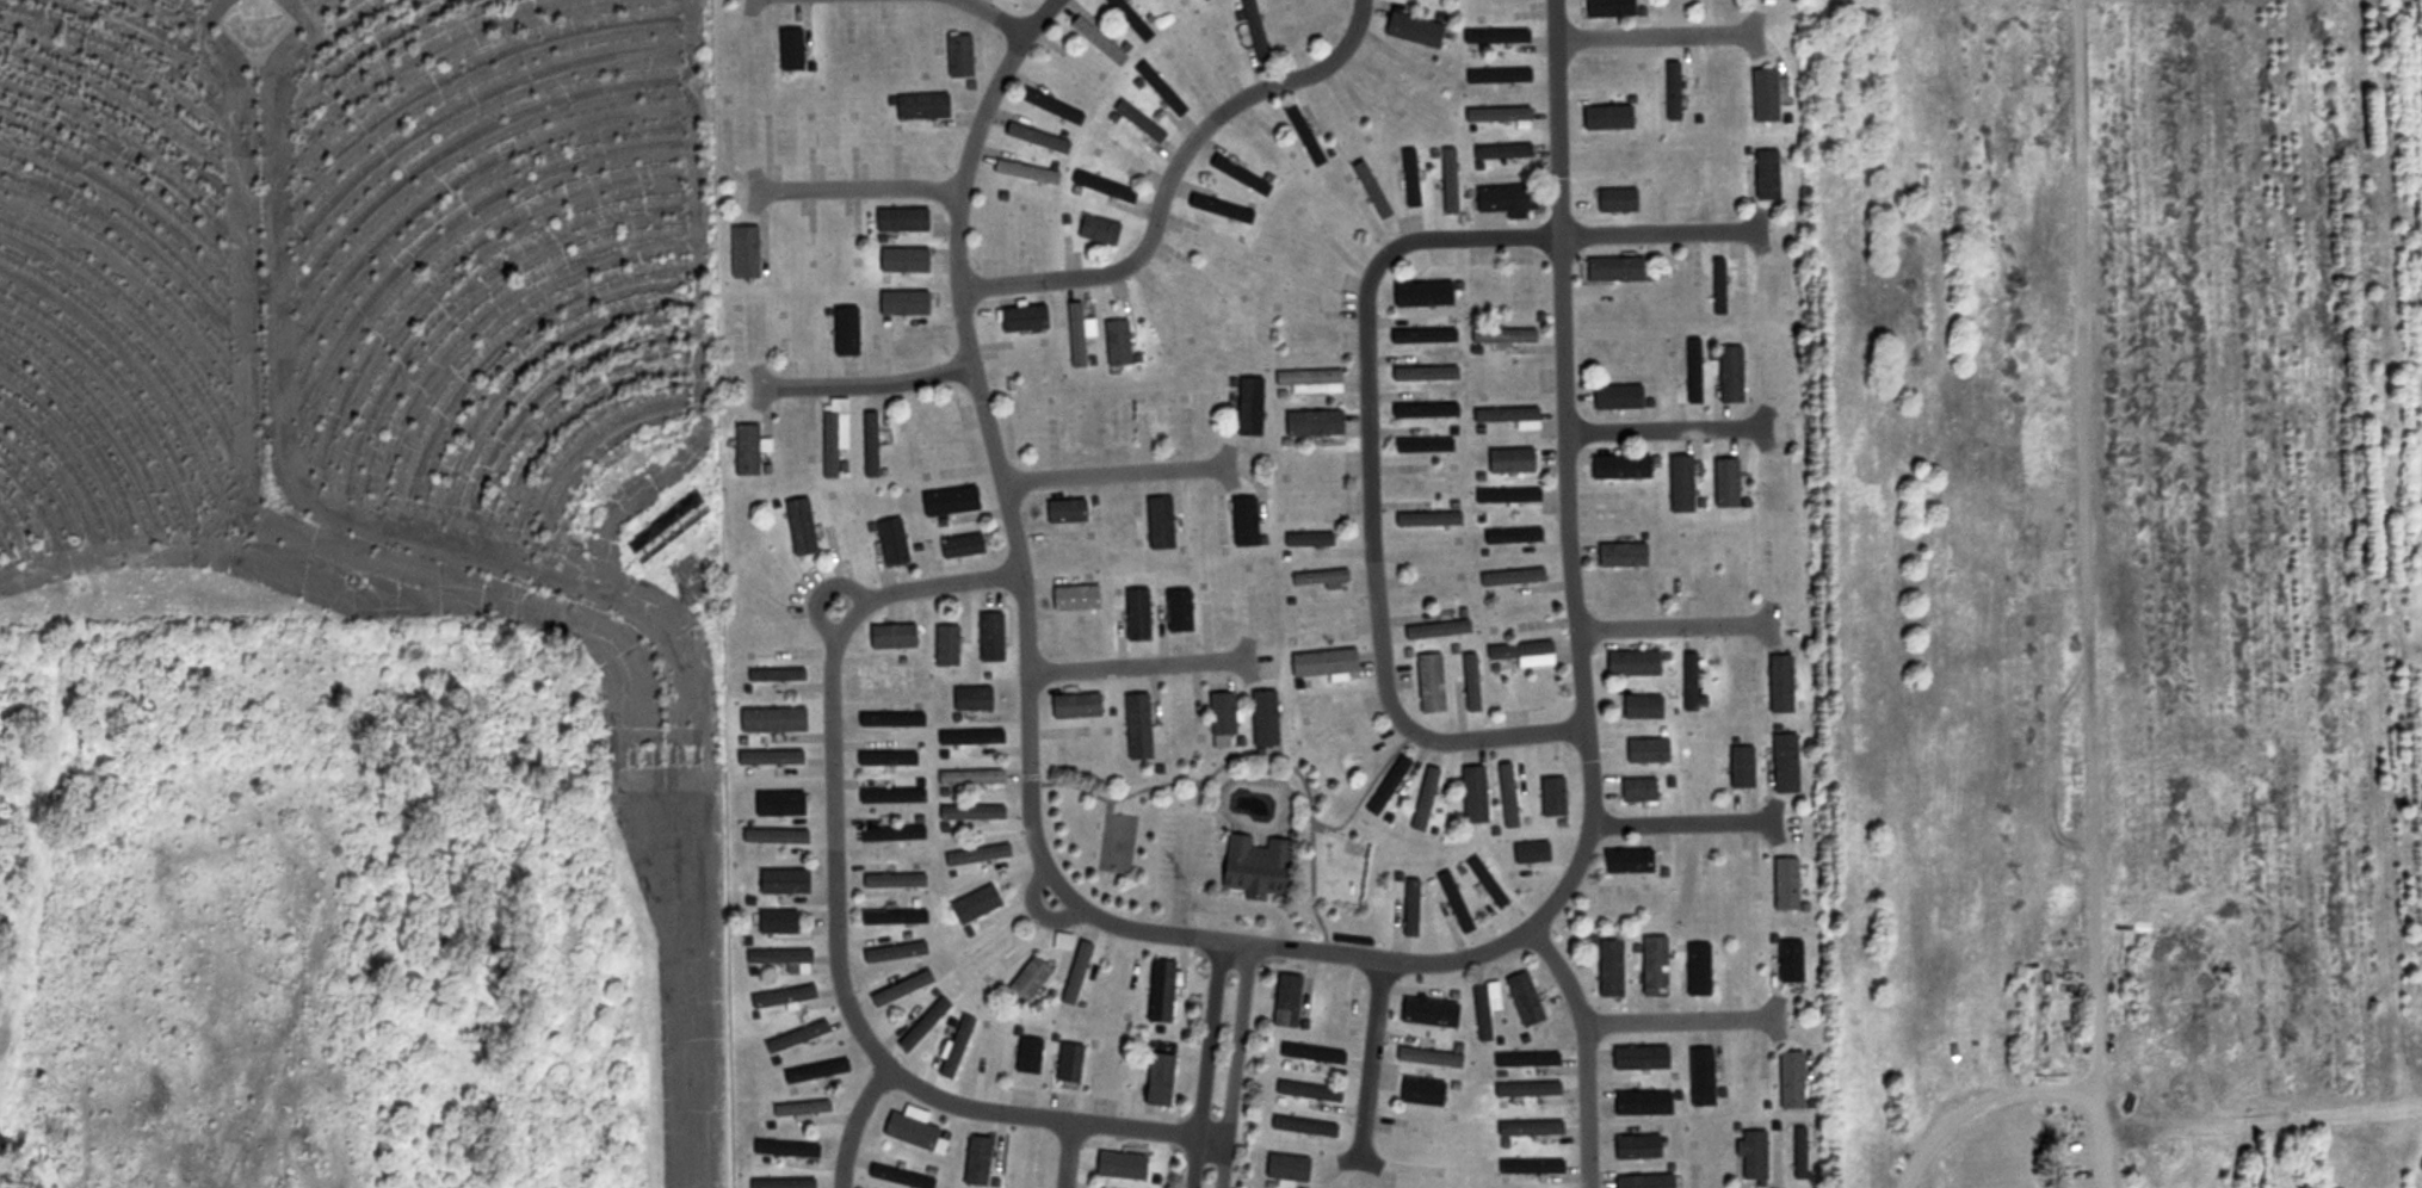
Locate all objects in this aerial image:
building: (1607, 8)
road: (986, 12)
building: (1127, 19)
building: (251, 25)
building: (1253, 30)
building: (1411, 30)
road: (1654, 41)
building: (1095, 42)
building: (787, 49)
building: (1159, 89)
building: (1762, 95)
building: (1606, 117)
building: (1137, 120)
building: (1302, 135)
building: (1237, 175)
building: (1765, 175)
road: (1181, 190)
road: (851, 193)
building: (1502, 199)
building: (991, 229)
building: (1096, 230)
road: (1657, 236)
building: (1613, 270)
building: (1520, 290)
building: (1420, 295)
building: (1114, 342)
building: (1311, 344)
building: (1729, 375)
building: (1309, 382)
road: (864, 383)
building: (1615, 397)
building: (1247, 407)
building: (1507, 417)
building: (1311, 425)
road: (1664, 437)
building: (830, 441)
building: (869, 445)
building: (1421, 445)
building: (744, 450)
building: (1509, 462)
building: (1618, 468)
road: (1117, 475)
building: (1426, 483)
building: (1724, 484)
building: (1679, 485)
building: (1506, 496)
road: (1377, 499)
building: (947, 501)
building: (1421, 506)
building: (1063, 511)
building: (798, 530)
building: (1510, 537)
road: (2077, 542)
building: (1411, 546)
building: (698, 588)
road: (503, 595)
building: (1176, 613)
building: (1434, 630)
road: (1675, 630)
building: (764, 635)
building: (1522, 654)
building: (1322, 663)
building: (1630, 663)
road: (1136, 667)
building: (773, 674)
building: (882, 676)
building: (1428, 683)
building: (1073, 706)
building: (1639, 707)
building: (770, 719)
building: (1261, 719)
building: (1219, 720)
building: (1135, 726)
building: (968, 740)
building: (661, 754)
building: (774, 757)
building: (1782, 763)
building: (1740, 768)
building: (968, 778)
building: (1386, 787)
building: (1636, 791)
building: (1471, 796)
building: (889, 797)
building: (1550, 797)
building: (772, 803)
road: (1682, 822)
building: (889, 834)
building: (777, 836)
building: (1528, 853)
building: (1626, 861)
building: (1253, 866)
building: (773, 880)
building: (1484, 881)
building: (1784, 884)
building: (1408, 908)
road: (1037, 914)
building: (890, 918)
building: (774, 922)
road: (841, 936)
road: (1299, 952)
building: (891, 953)
building: (779, 958)
building: (1787, 961)
building: (1652, 966)
building: (1608, 969)
building: (1697, 970)
building: (1027, 980)
building: (1157, 992)
building: (778, 998)
building: (1524, 1000)
building: (1285, 1001)
building: (1332, 1004)
building: (1483, 1007)
building: (1427, 1014)
building: (921, 1025)
road: (1683, 1027)
building: (793, 1038)
building: (953, 1047)
road: (1584, 1050)
building: (1311, 1052)
building: (1025, 1057)
building: (1642, 1057)
building: (1427, 1058)
building: (1525, 1058)
road: (1368, 1062)
road: (1203, 1065)
road: (1231, 1068)
building: (815, 1069)
building: (1697, 1076)
building: (1742, 1077)
building: (1157, 1079)
building: (1788, 1081)
building: (1526, 1088)
building: (1306, 1090)
building: (1419, 1093)
building: (1644, 1102)
road: (1977, 1108)
building: (798, 1109)
road: (847, 1125)
building: (1305, 1126)
building: (1527, 1126)
building: (1419, 1130)
building: (907, 1131)
road: (2092, 1136)
building: (1645, 1146)
building: (789, 1147)
building: (1709, 1155)
building: (1750, 1155)
building: (1797, 1155)
building: (975, 1159)
road: (1071, 1159)
building: (1020, 1164)
building: (1117, 1164)
building: (1528, 1165)
building: (1284, 1168)
building: (898, 1176)
building: (1643, 1180)
building: (1416, 1182)
building: (781, 1183)

